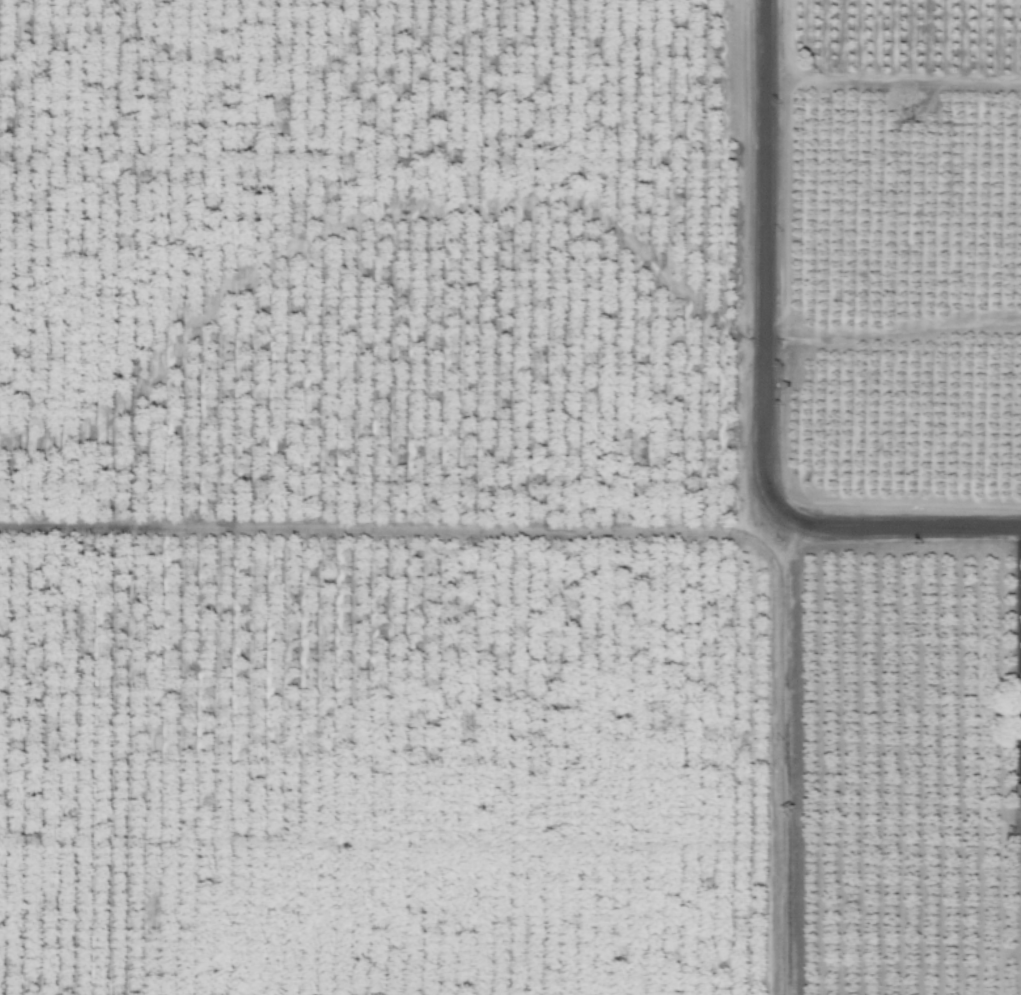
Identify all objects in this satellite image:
road: (762, 380)
road: (391, 528)
road: (774, 757)

